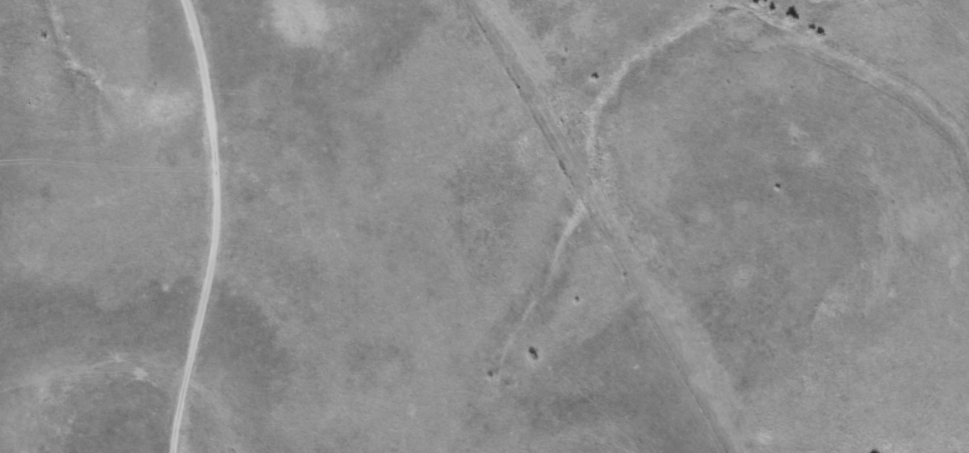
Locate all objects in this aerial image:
road: (213, 227)

